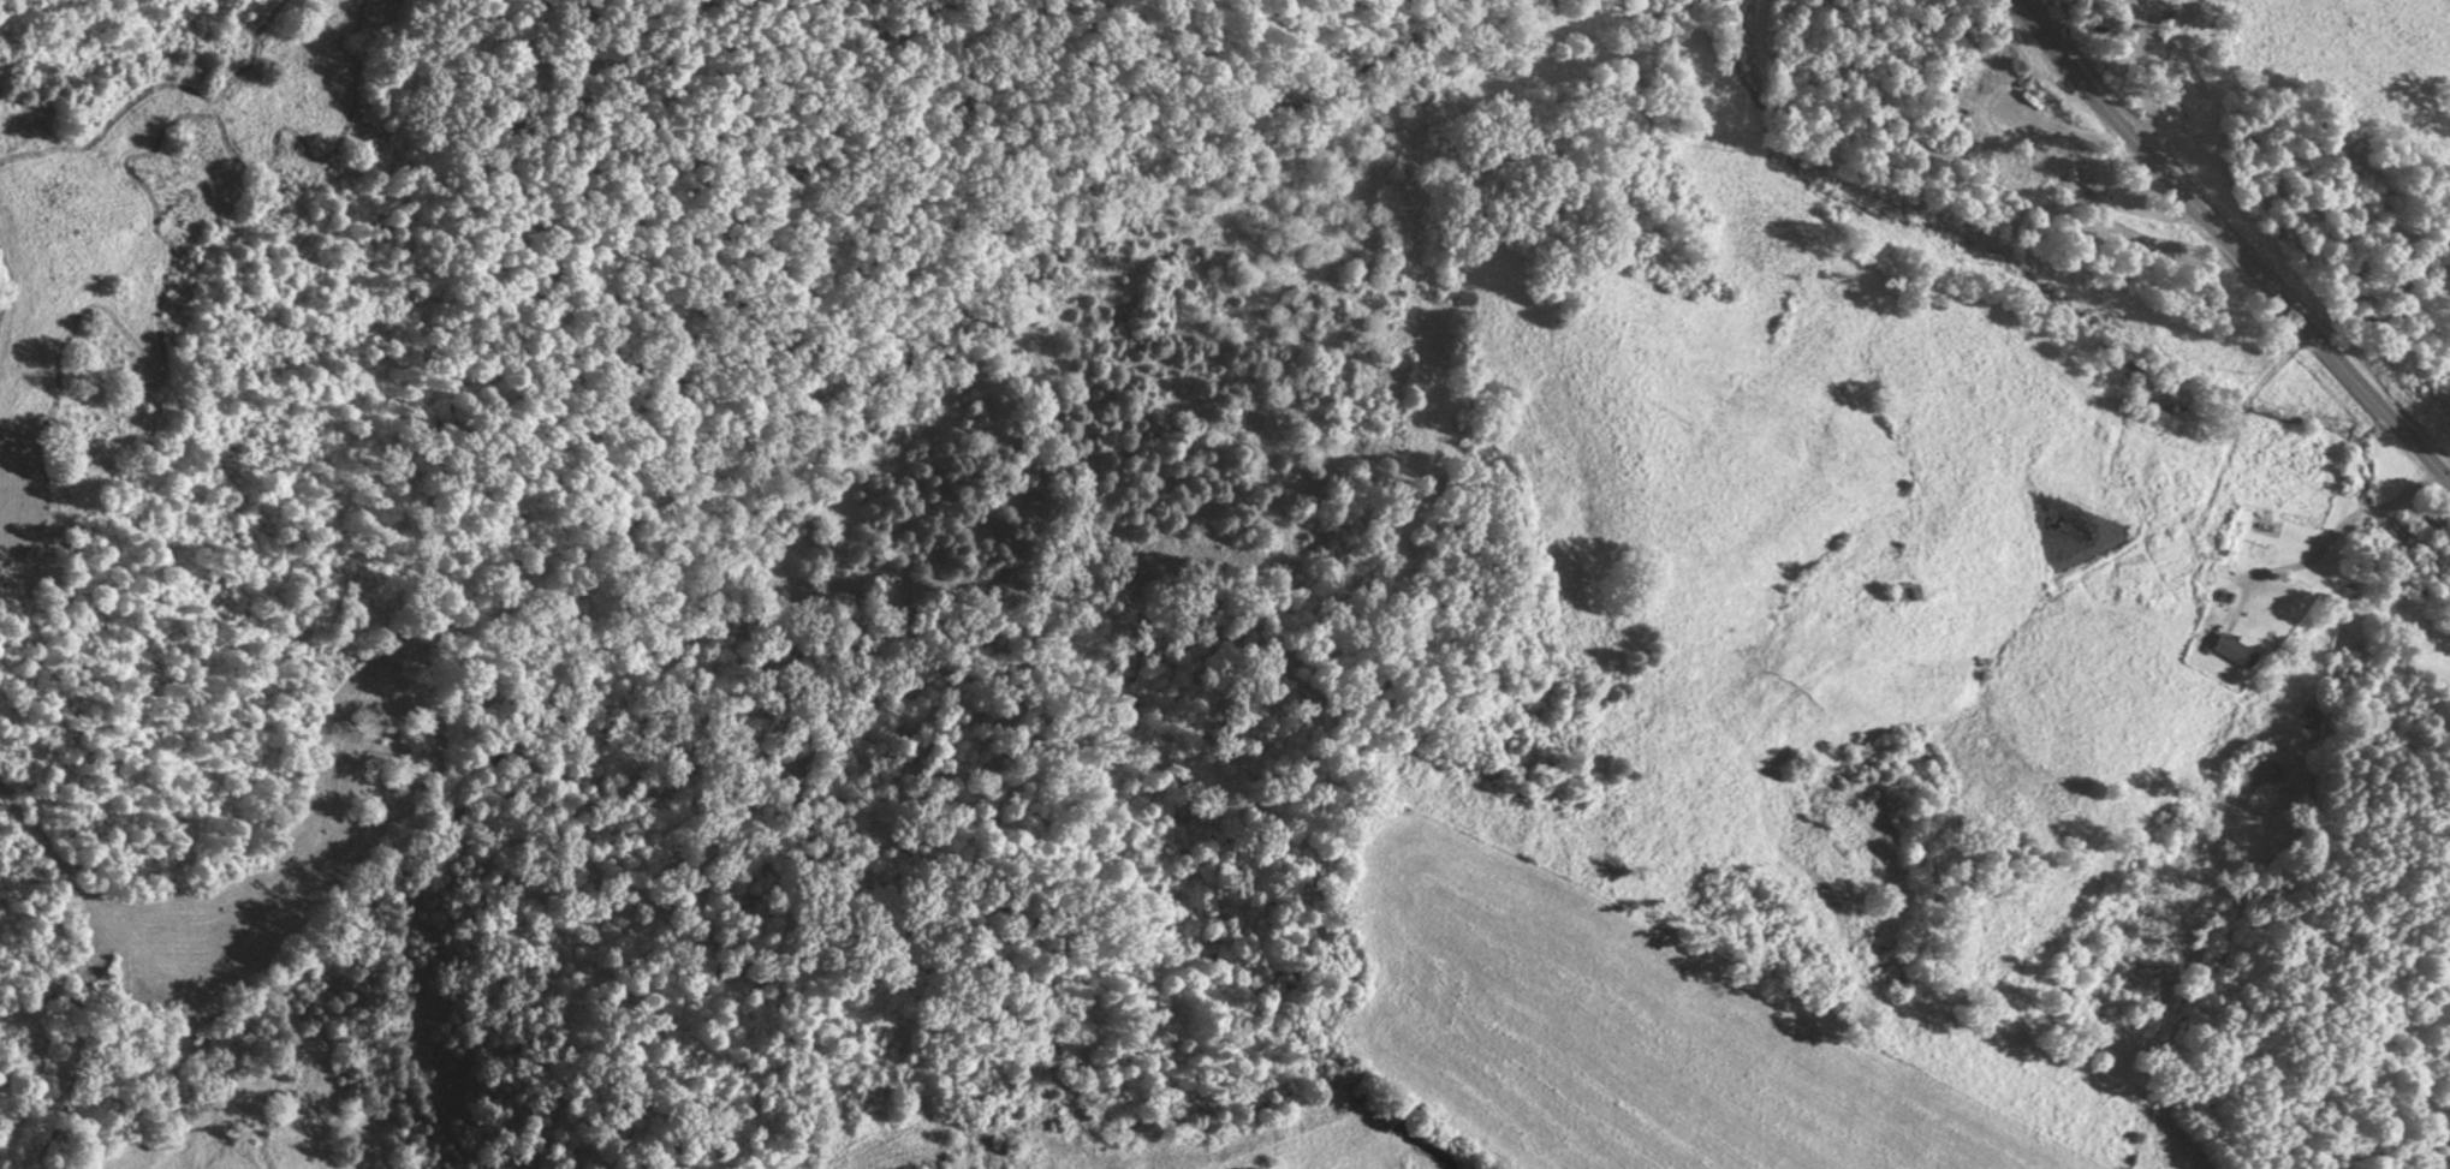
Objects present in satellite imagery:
building: (2079, 180)
road: (2224, 246)
road: (2342, 517)
building: (1903, 591)
building: (2231, 650)

